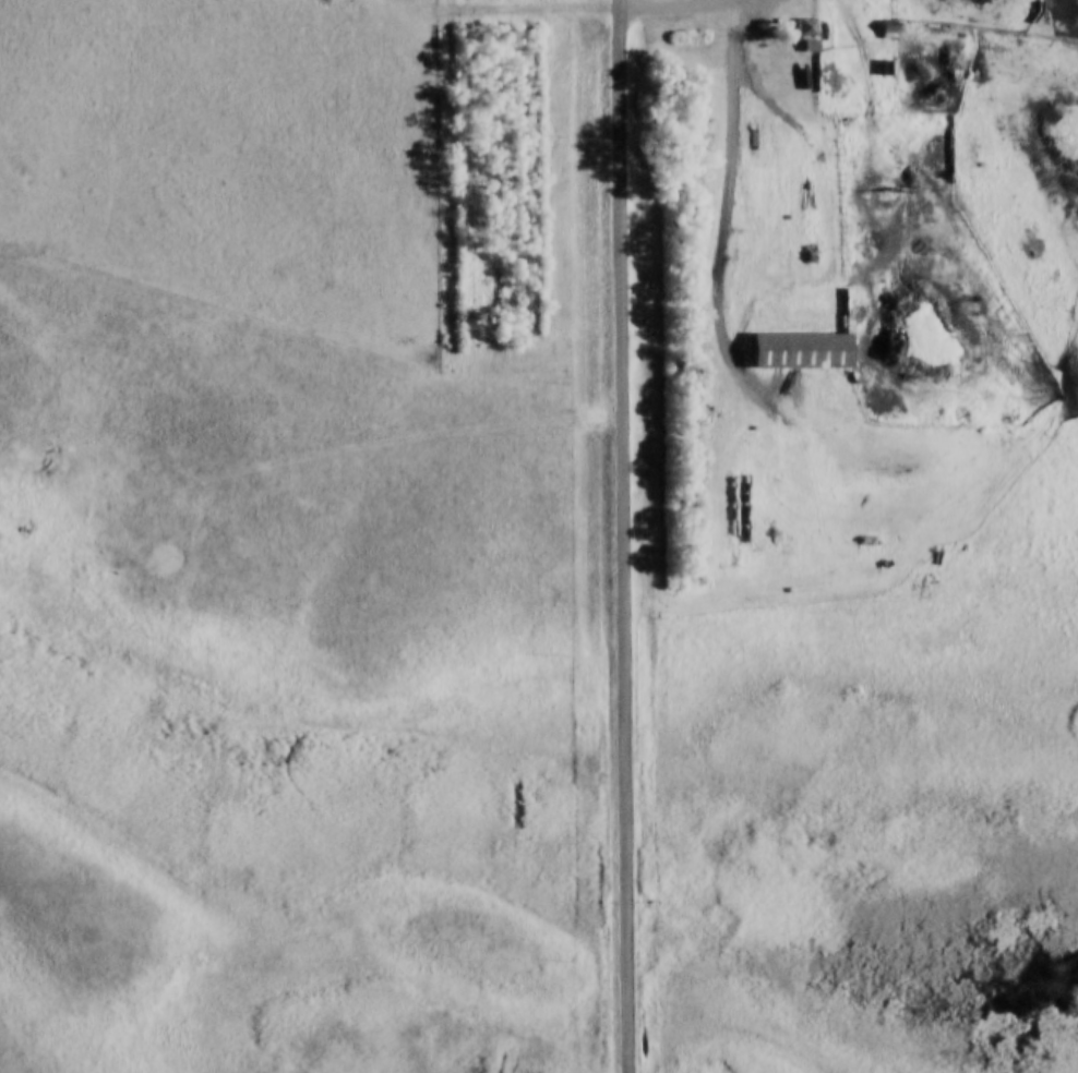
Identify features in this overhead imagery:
road: (661, 7)
building: (803, 27)
building: (808, 47)
road: (721, 312)
building: (796, 351)
road: (621, 535)

